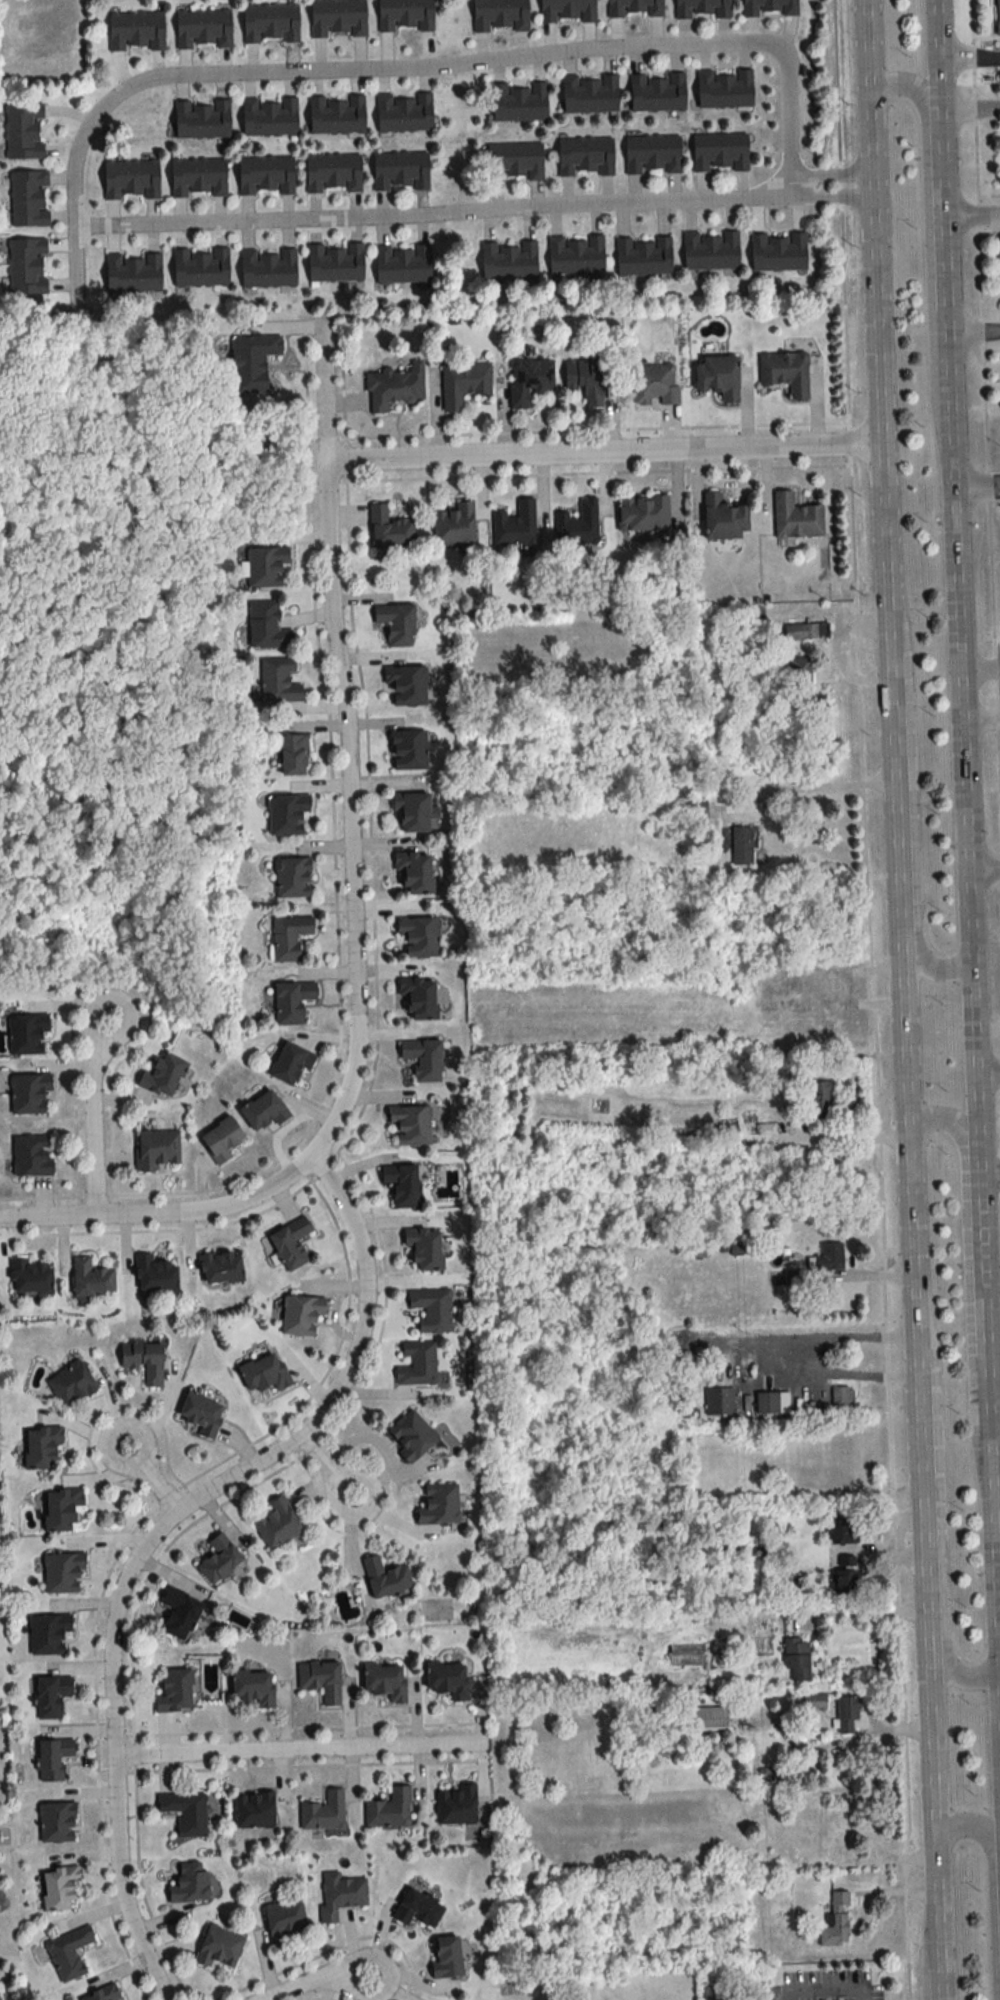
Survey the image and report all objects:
building: (769, 7)
building: (634, 8)
building: (701, 8)
building: (567, 10)
building: (404, 15)
building: (499, 15)
building: (997, 16)
building: (337, 18)
building: (270, 23)
building: (203, 28)
building: (135, 31)
road: (968, 61)
road: (405, 67)
building: (724, 89)
building: (657, 92)
building: (589, 94)
building: (518, 103)
road: (938, 109)
road: (969, 111)
building: (403, 113)
building: (336, 115)
building: (269, 117)
building: (201, 119)
road: (924, 126)
building: (23, 131)
building: (719, 152)
building: (652, 154)
building: (585, 156)
building: (514, 161)
building: (400, 170)
building: (333, 172)
road: (826, 173)
building: (265, 175)
building: (198, 177)
building: (130, 179)
building: (28, 198)
road: (827, 198)
road: (432, 214)
road: (971, 219)
building: (710, 250)
building: (778, 251)
building: (576, 254)
building: (643, 256)
building: (508, 260)
building: (334, 262)
building: (402, 263)
road: (944, 263)
building: (26, 266)
building: (199, 267)
building: (267, 268)
building: (133, 273)
road: (973, 337)
road: (986, 359)
building: (252, 362)
building: (785, 372)
building: (716, 376)
building: (529, 380)
building: (585, 380)
building: (463, 382)
building: (654, 384)
building: (394, 387)
road: (602, 455)
road: (976, 479)
building: (642, 513)
building: (722, 517)
building: (796, 517)
building: (454, 524)
building: (515, 524)
building: (578, 524)
building: (389, 528)
building: (266, 567)
building: (395, 623)
building: (266, 627)
building: (805, 631)
road: (980, 669)
building: (798, 674)
building: (278, 681)
building: (405, 685)
road: (980, 719)
road: (349, 745)
building: (408, 750)
building: (293, 755)
road: (835, 782)
road: (909, 798)
building: (740, 802)
building: (411, 812)
building: (286, 815)
building: (738, 845)
road: (983, 870)
building: (413, 873)
building: (292, 877)
building: (288, 937)
building: (418, 937)
building: (811, 980)
building: (770, 984)
building: (418, 998)
road: (877, 1000)
road: (901, 1000)
building: (821, 1001)
building: (292, 1002)
road: (971, 1007)
building: (26, 1035)
building: (423, 1059)
building: (290, 1064)
road: (987, 1072)
building: (162, 1076)
building: (28, 1094)
building: (820, 1099)
building: (263, 1110)
road: (93, 1120)
building: (410, 1124)
building: (727, 1129)
building: (765, 1130)
building: (220, 1140)
building: (156, 1151)
building: (31, 1156)
road: (989, 1177)
building: (401, 1184)
road: (966, 1200)
road: (162, 1216)
building: (290, 1244)
building: (423, 1249)
building: (829, 1257)
building: (220, 1269)
road: (858, 1274)
building: (154, 1275)
building: (31, 1279)
building: (91, 1279)
building: (431, 1310)
building: (300, 1315)
road: (992, 1325)
road: (819, 1338)
building: (143, 1361)
building: (417, 1364)
building: (264, 1374)
road: (837, 1375)
building: (71, 1384)
building: (841, 1398)
building: (719, 1402)
building: (771, 1403)
building: (200, 1415)
road: (993, 1416)
building: (411, 1435)
building: (40, 1448)
road: (325, 1466)
road: (152, 1480)
building: (439, 1505)
building: (63, 1510)
building: (277, 1525)
building: (842, 1531)
road: (154, 1535)
building: (219, 1560)
building: (62, 1574)
building: (385, 1577)
building: (840, 1583)
road: (941, 1606)
building: (179, 1613)
road: (873, 1614)
road: (998, 1629)
building: (49, 1633)
building: (686, 1655)
building: (796, 1656)
building: (447, 1678)
building: (320, 1679)
building: (384, 1680)
building: (252, 1686)
building: (174, 1690)
building: (50, 1695)
building: (814, 1702)
building: (847, 1713)
building: (707, 1719)
road: (300, 1747)
building: (52, 1757)
building: (456, 1805)
building: (389, 1808)
building: (253, 1810)
building: (185, 1811)
building: (324, 1812)
building: (56, 1821)
building: (842, 1849)
building: (189, 1881)
road: (991, 1884)
building: (58, 1886)
building: (340, 1894)
building: (417, 1908)
building: (285, 1921)
building: (836, 1921)
building: (219, 1947)
building: (70, 1952)
building: (446, 1956)
road: (319, 1981)
road: (822, 1987)
building: (101, 1993)

